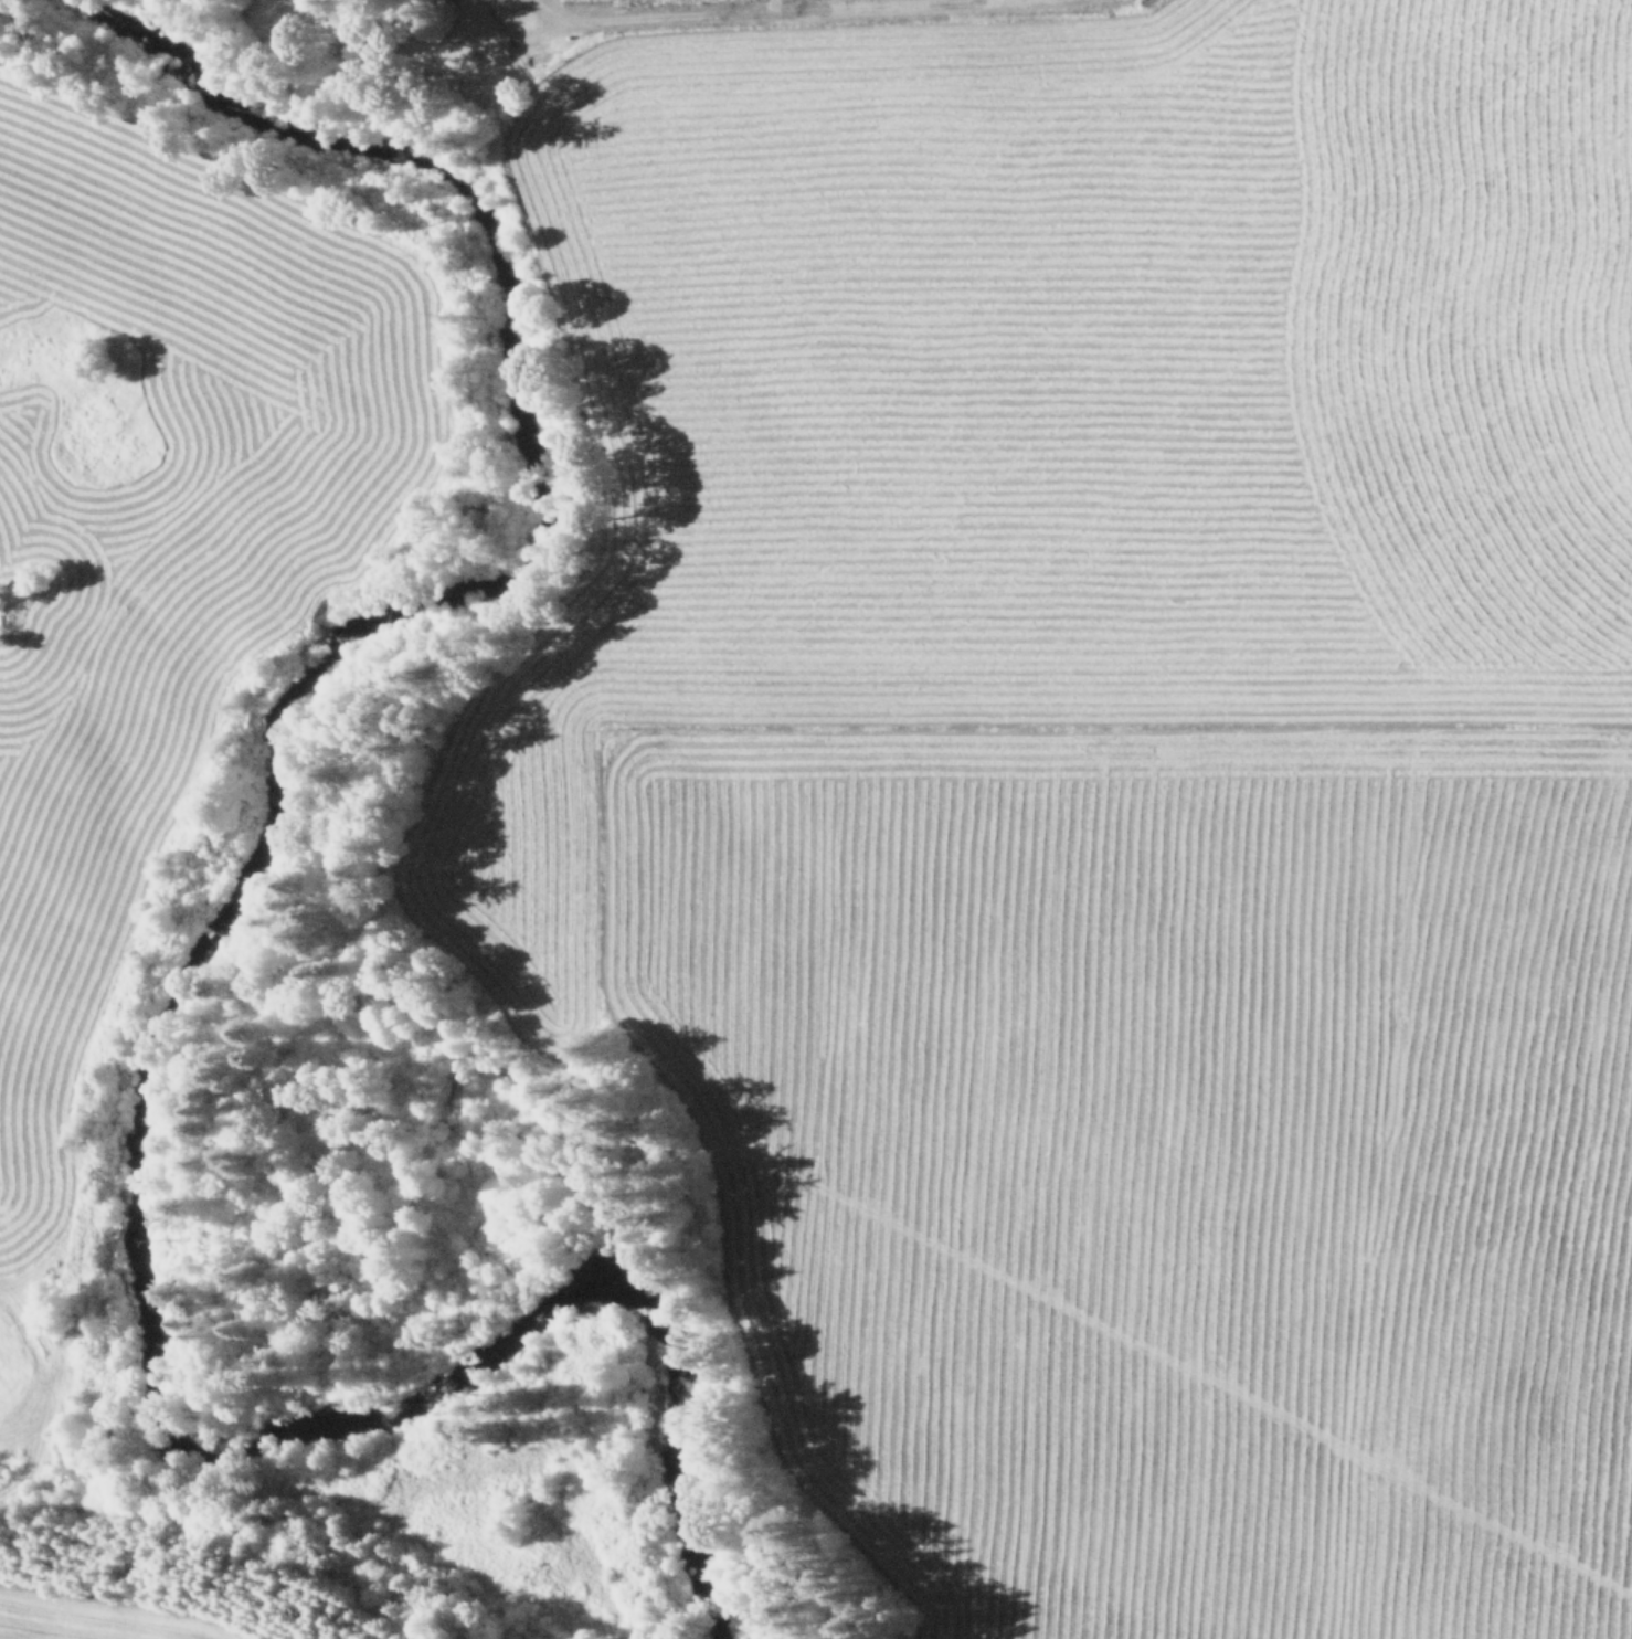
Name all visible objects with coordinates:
road: (1623, 485)
crop: (147, 549)
crop: (1115, 772)
river: (186, 966)
crop: (91, 1610)

